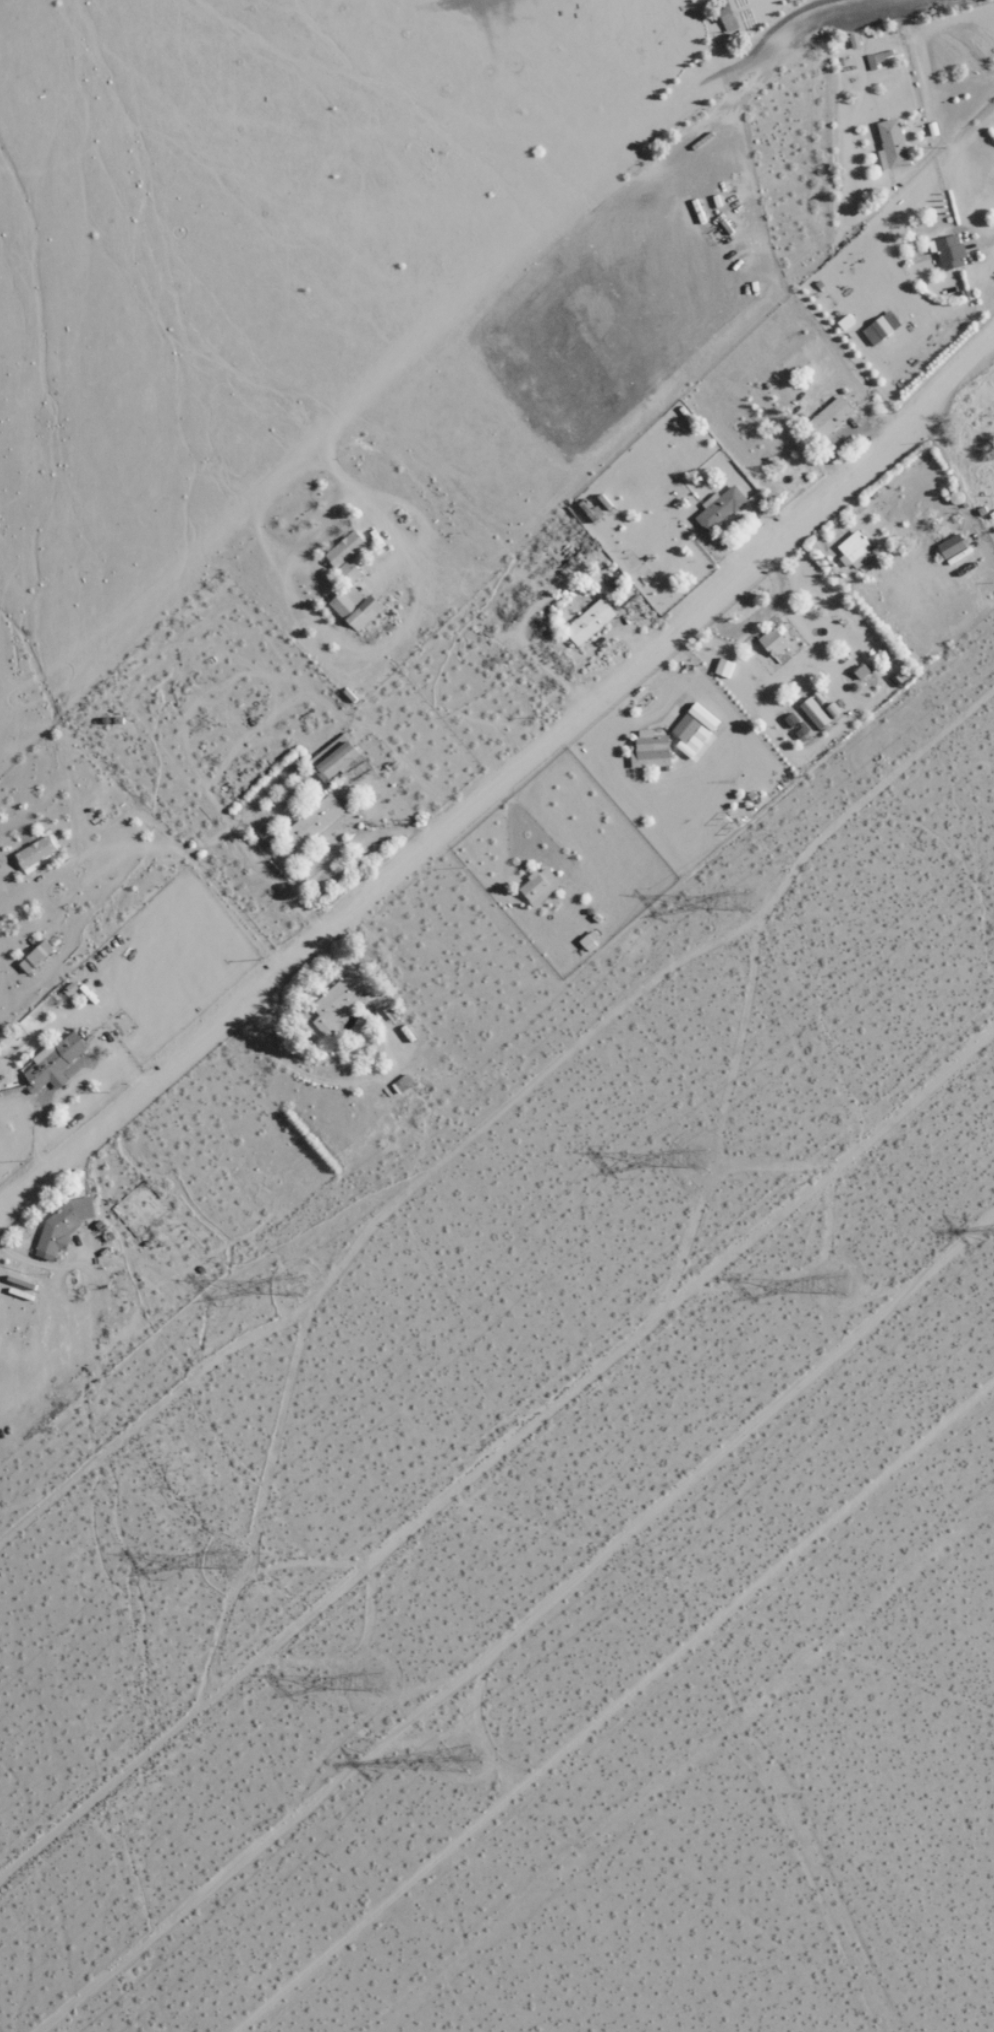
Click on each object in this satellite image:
building: (891, 145)
road: (923, 152)
building: (947, 252)
road: (468, 299)
building: (827, 420)
building: (719, 508)
building: (950, 546)
building: (343, 549)
building: (854, 551)
building: (347, 573)
building: (354, 608)
building: (588, 622)
building: (773, 641)
building: (723, 668)
building: (814, 713)
building: (796, 726)
building: (694, 730)
building: (649, 751)
building: (336, 761)
road: (501, 777)
building: (312, 822)
road: (530, 823)
building: (35, 853)
building: (538, 887)
power tower: (756, 902)
building: (34, 956)
building: (335, 1002)
building: (53, 1062)
power tower: (700, 1164)
building: (61, 1226)
power tower: (844, 1277)
power tower: (302, 1286)
road: (497, 1462)
power tower: (238, 1566)
power tower: (383, 1682)
road: (615, 1704)
power tower: (476, 1764)

